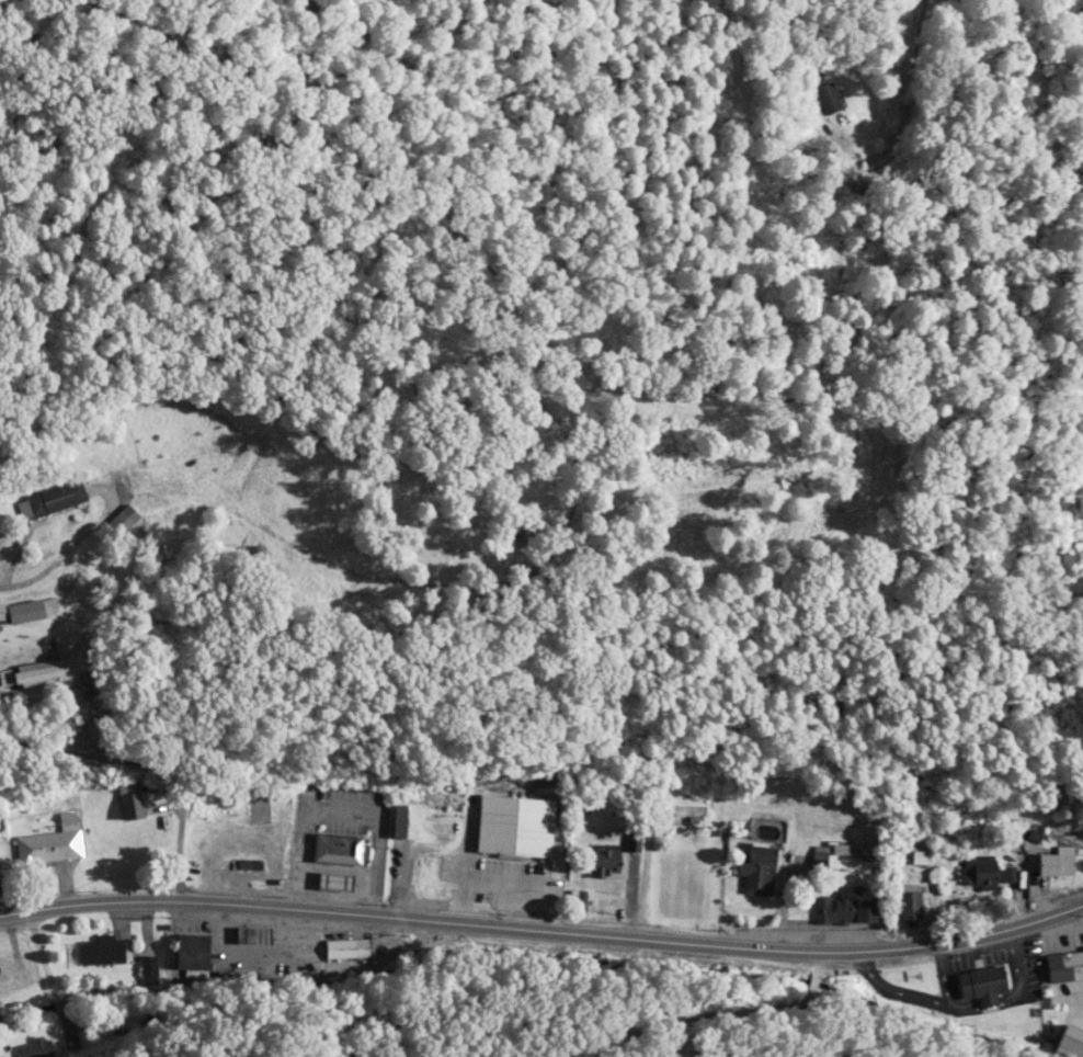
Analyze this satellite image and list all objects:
building: (825, 99)
building: (55, 499)
building: (121, 521)
building: (253, 556)
road: (54, 567)
building: (24, 612)
building: (39, 675)
road: (155, 766)
building: (129, 803)
building: (617, 808)
building: (258, 809)
building: (680, 812)
building: (218, 816)
building: (404, 822)
building: (437, 831)
building: (52, 844)
building: (339, 850)
building: (1057, 863)
building: (249, 865)
building: (608, 865)
building: (756, 871)
building: (984, 874)
building: (453, 878)
building: (334, 883)
building: (506, 886)
building: (909, 902)
building: (844, 910)
road: (544, 928)
building: (345, 950)
building: (104, 952)
building: (191, 954)
building: (1064, 966)
building: (11, 968)
building: (147, 971)
building: (981, 982)
building: (1069, 1043)
building: (37, 1049)

